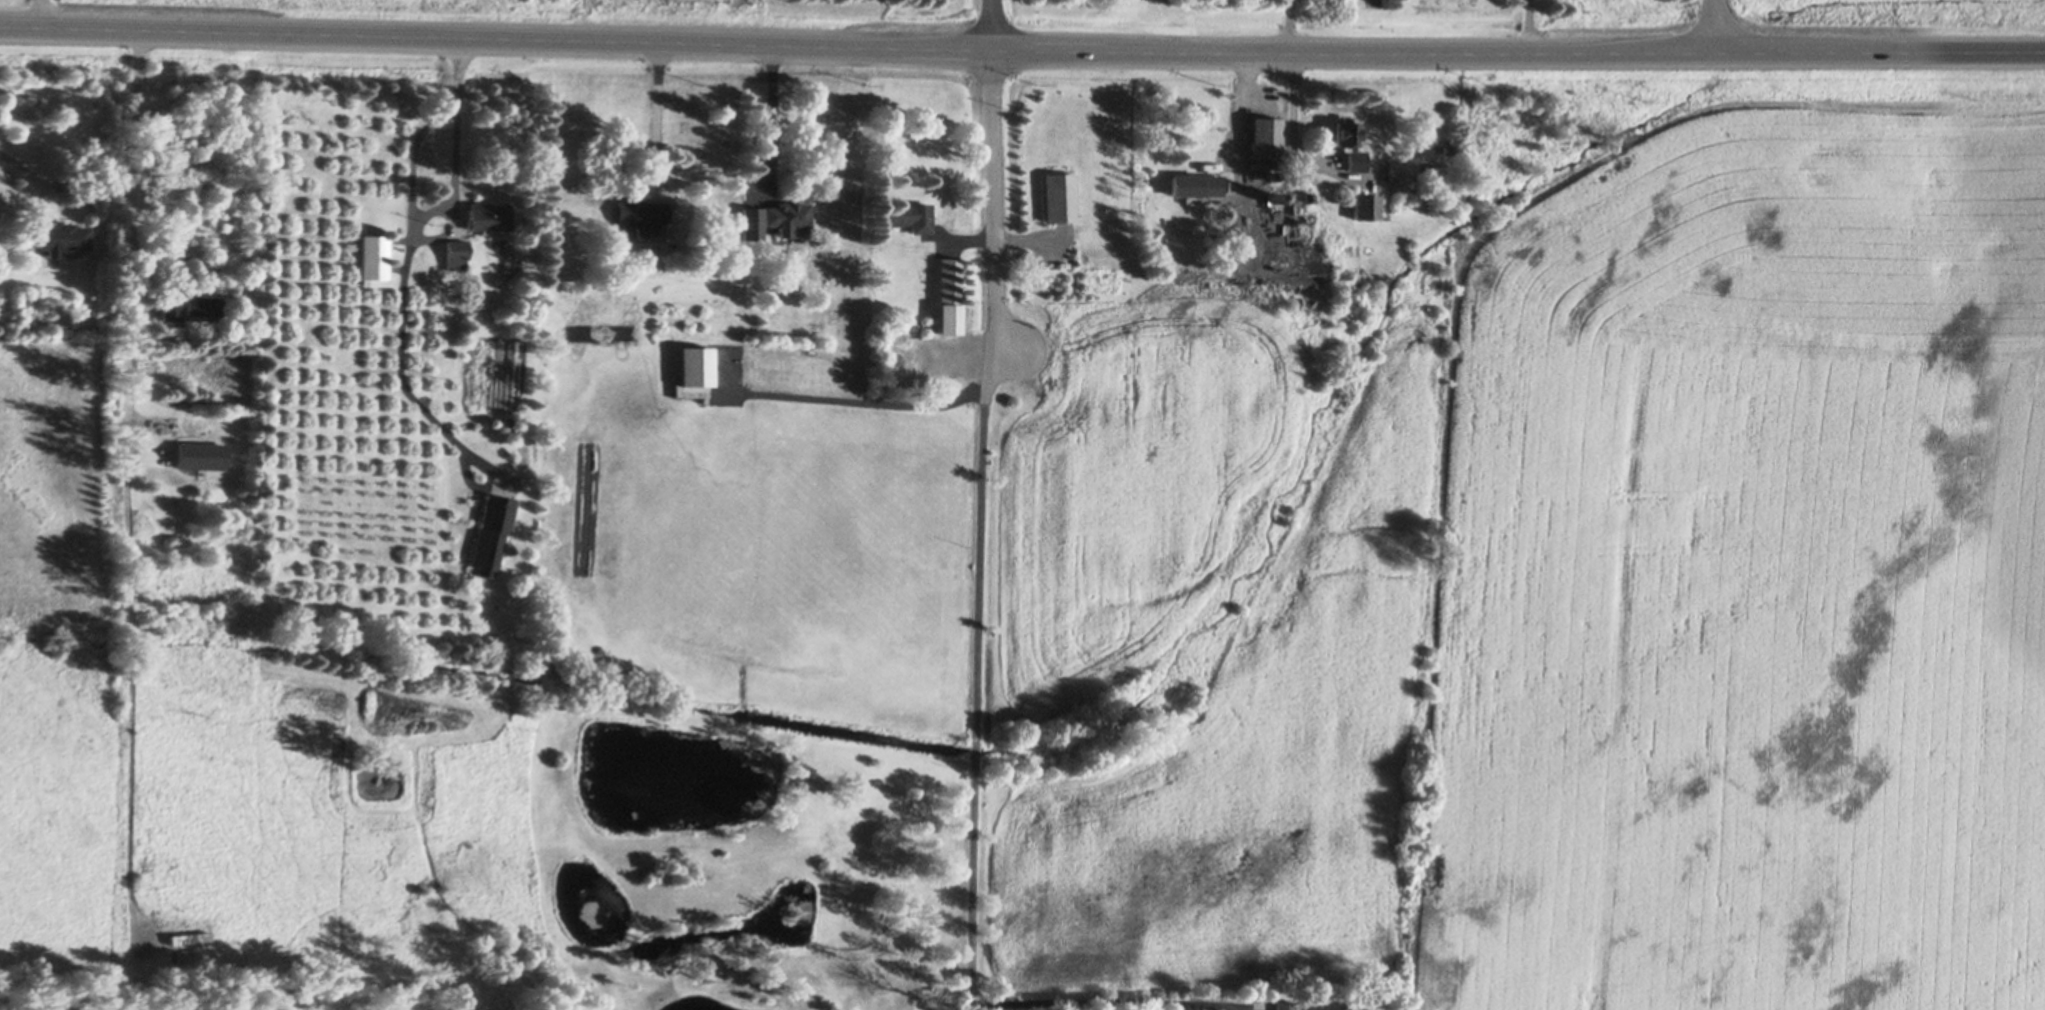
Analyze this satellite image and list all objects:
road: (41, 14)
road: (1713, 27)
road: (1022, 50)
road: (656, 118)
road: (1245, 120)
road: (770, 122)
building: (1346, 134)
building: (1266, 139)
building: (1448, 150)
building: (1356, 163)
road: (133, 170)
building: (1402, 171)
building: (1273, 176)
road: (995, 179)
building: (1196, 186)
building: (1272, 198)
building: (1060, 199)
building: (1309, 200)
road: (453, 206)
building: (1367, 208)
building: (788, 215)
building: (641, 217)
building: (490, 218)
building: (912, 218)
building: (1288, 223)
building: (753, 224)
building: (63, 239)
building: (458, 254)
building: (375, 261)
building: (948, 298)
building: (204, 307)
building: (172, 312)
building: (695, 373)
road: (408, 392)
road: (856, 397)
building: (510, 425)
building: (187, 442)
building: (492, 532)
road: (978, 672)
building: (192, 940)
building: (184, 957)
building: (172, 974)
road: (1112, 1002)
road: (971, 1004)
building: (1363, 1006)
building: (1284, 1007)
building: (168, 1008)

